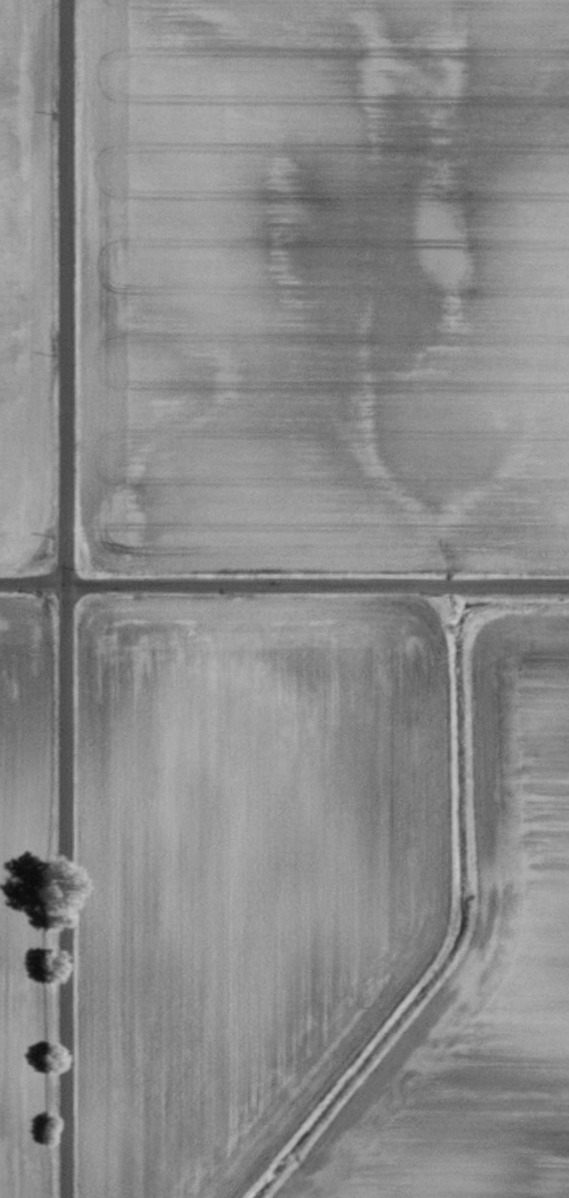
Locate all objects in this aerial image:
road: (284, 583)
road: (64, 598)

